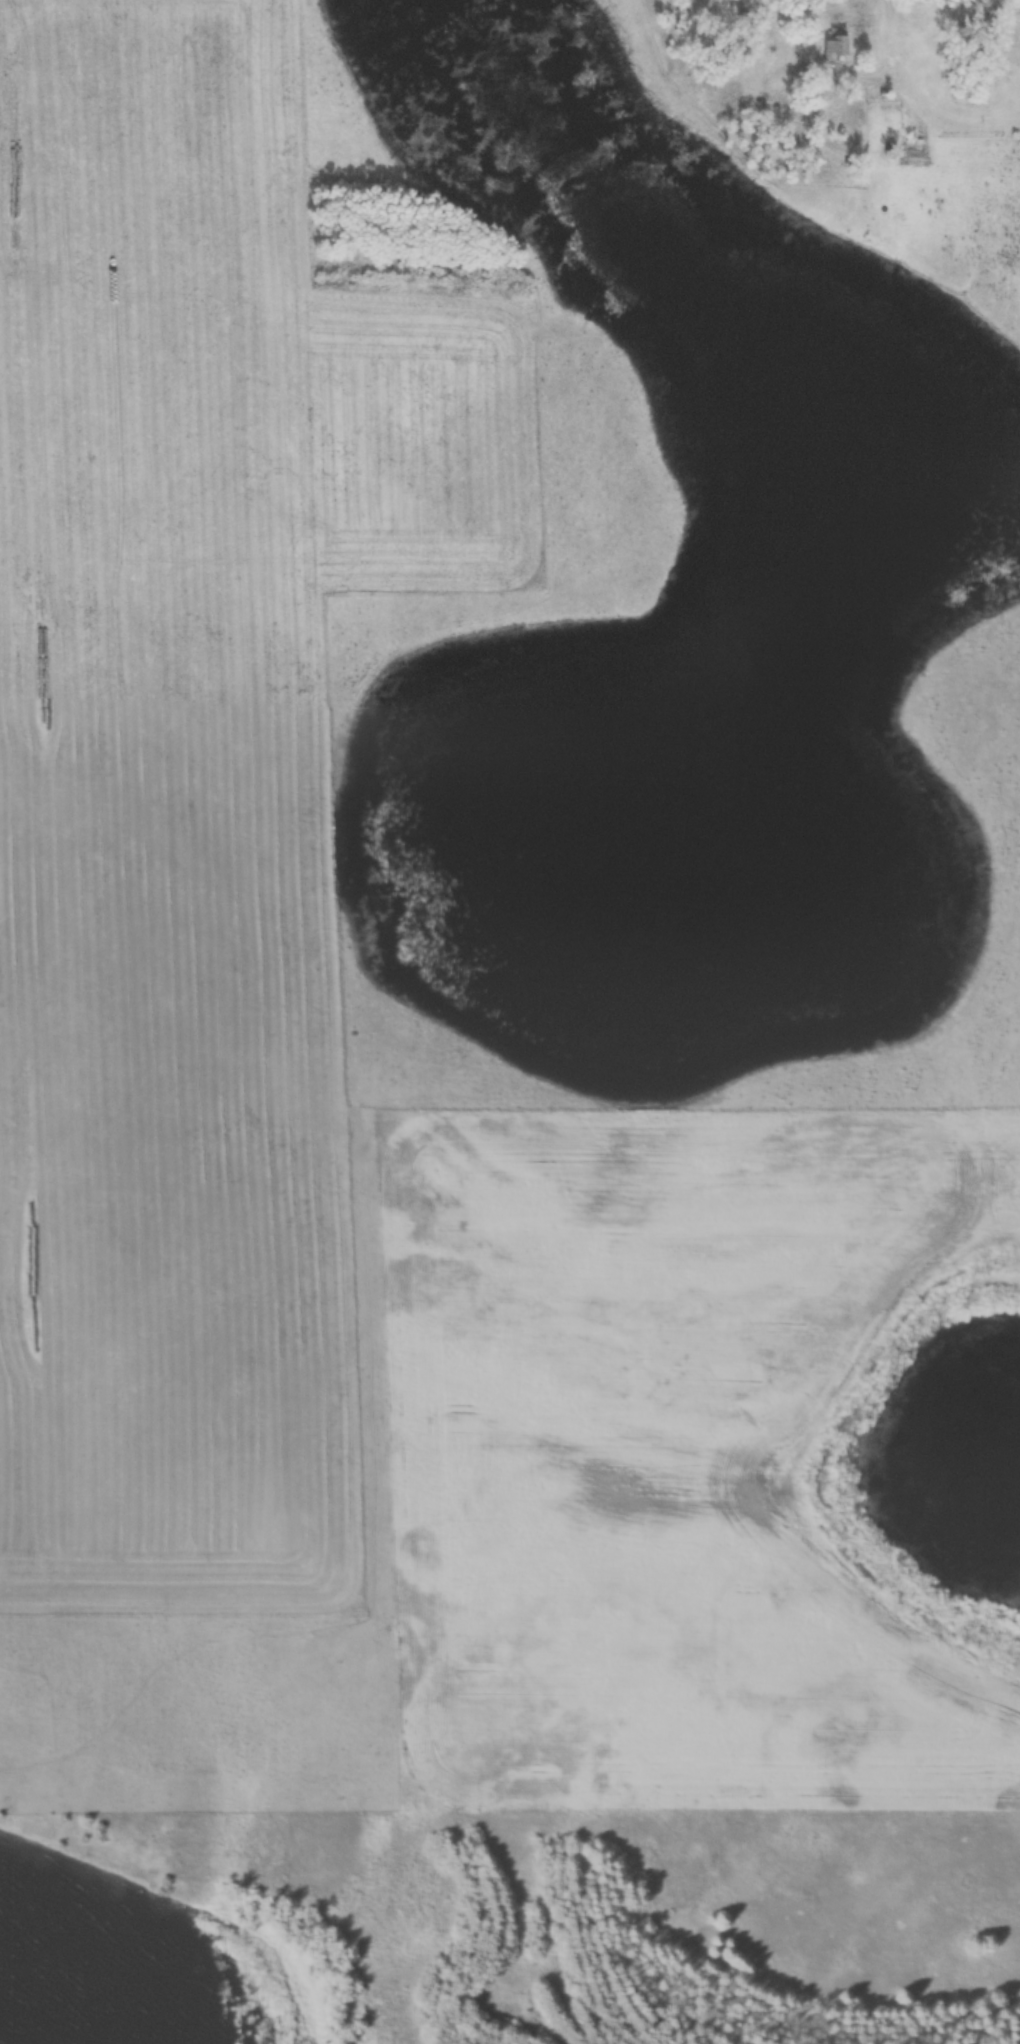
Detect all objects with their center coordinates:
building: (834, 48)
building: (910, 145)

